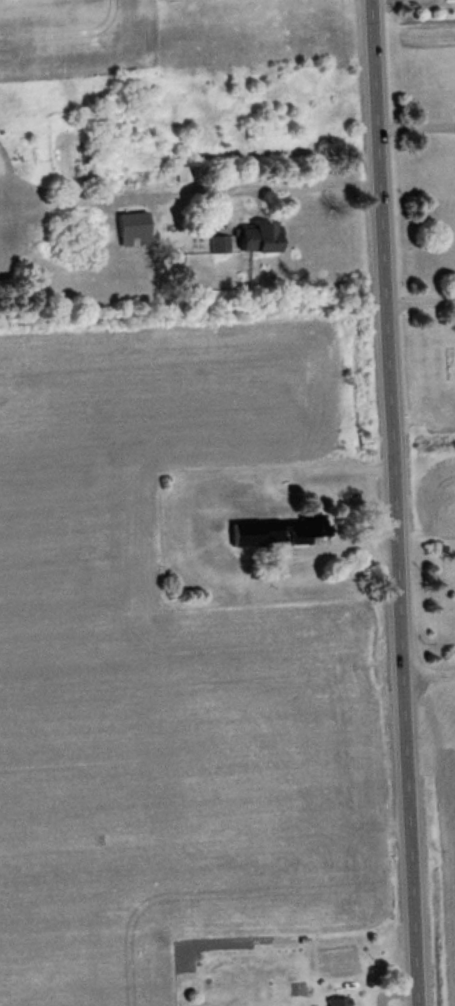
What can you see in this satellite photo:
road: (413, 115)
building: (85, 172)
building: (141, 179)
road: (298, 184)
building: (130, 232)
building: (252, 240)
building: (217, 246)
road: (417, 301)
road: (389, 502)
building: (300, 527)
road: (426, 662)
building: (339, 1003)

